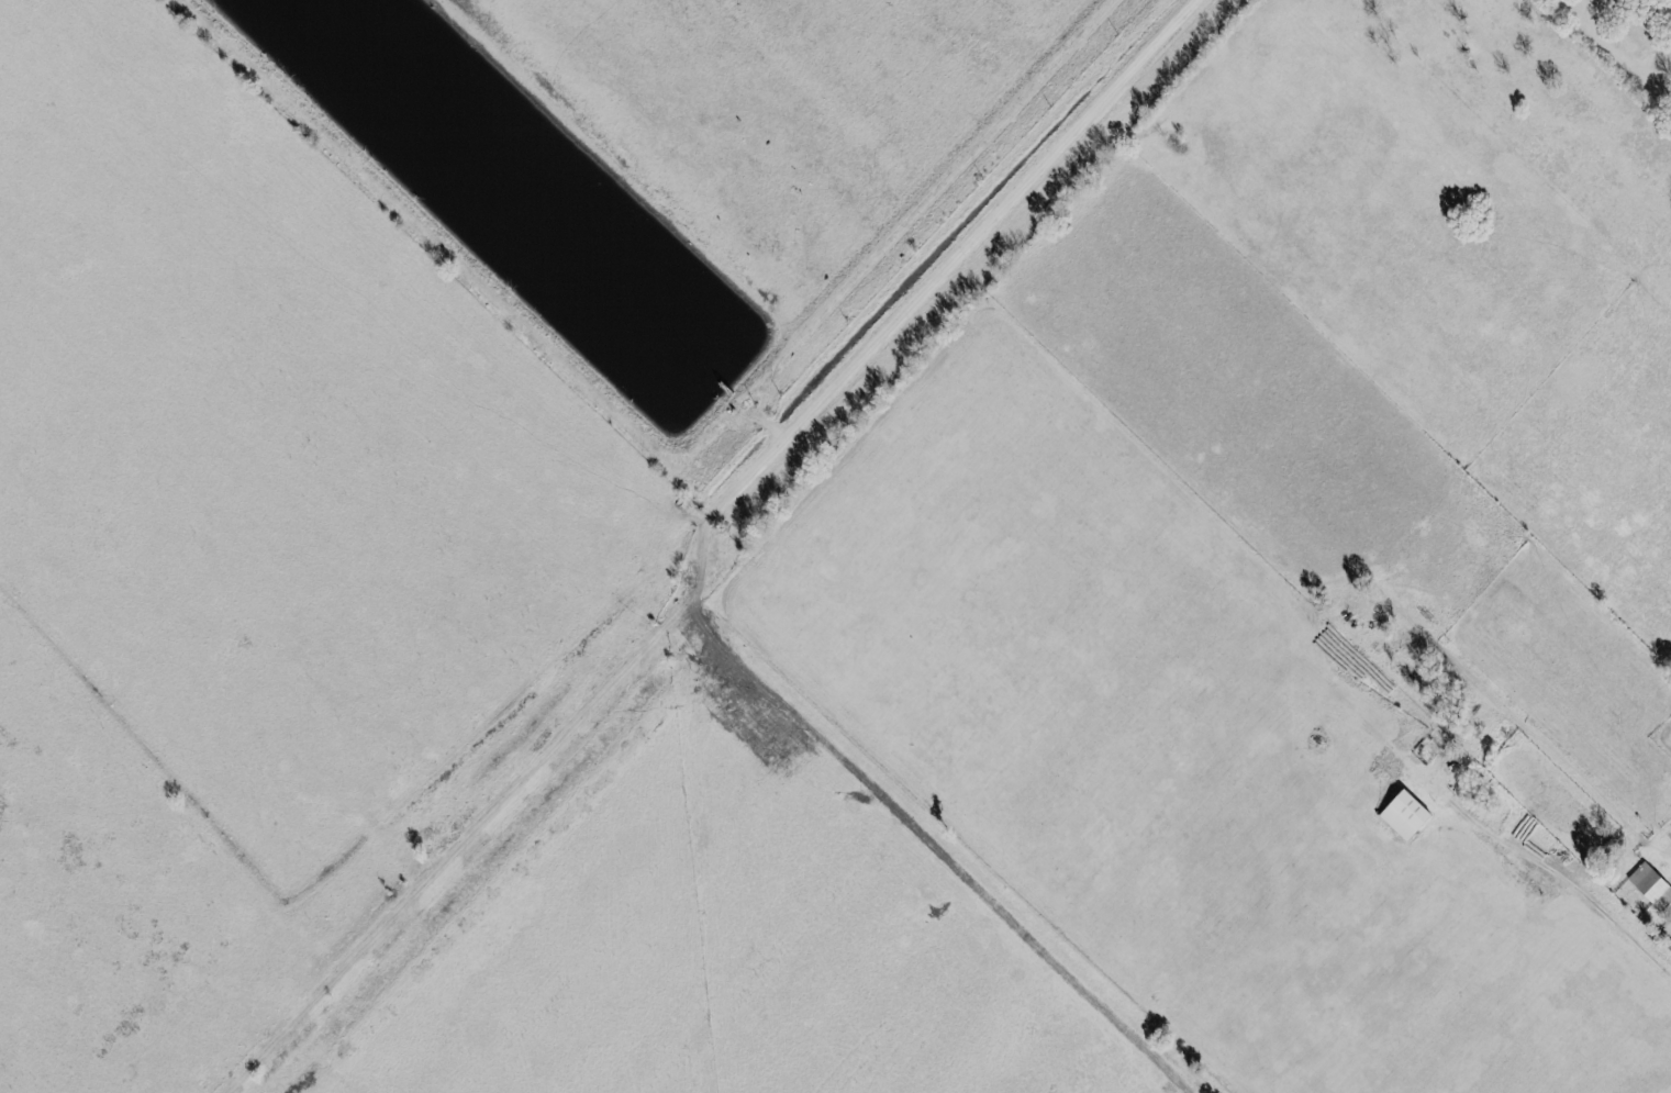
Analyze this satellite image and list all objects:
road: (716, 543)
building: (1404, 814)
building: (1651, 885)

